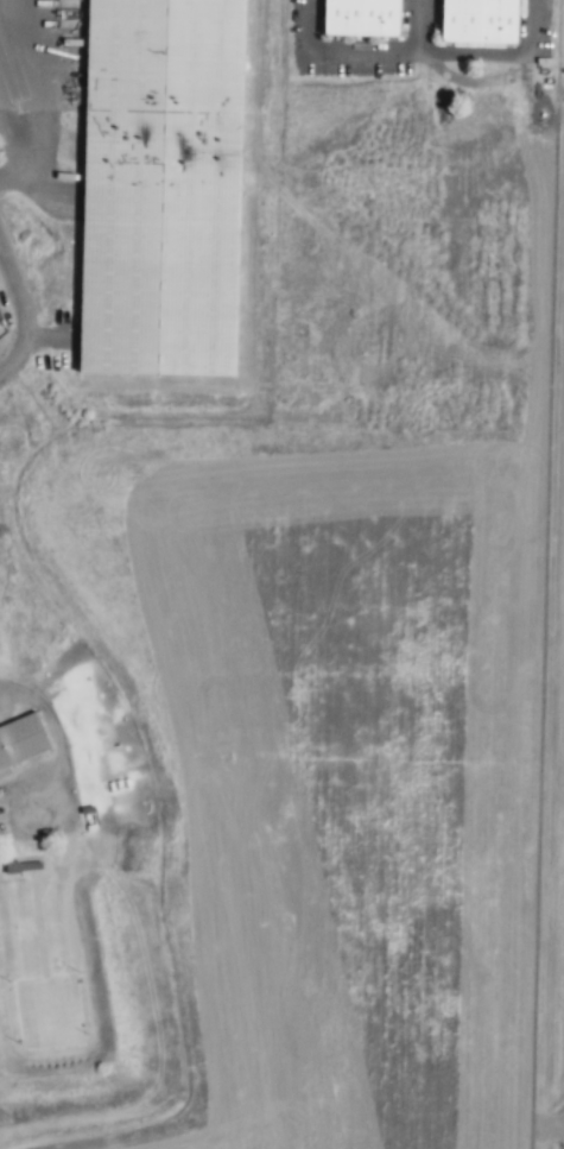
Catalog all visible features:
building: (361, 19)
building: (479, 21)
road: (420, 26)
road: (12, 27)
road: (342, 51)
building: (160, 188)
road: (24, 309)
building: (19, 739)
building: (21, 865)

